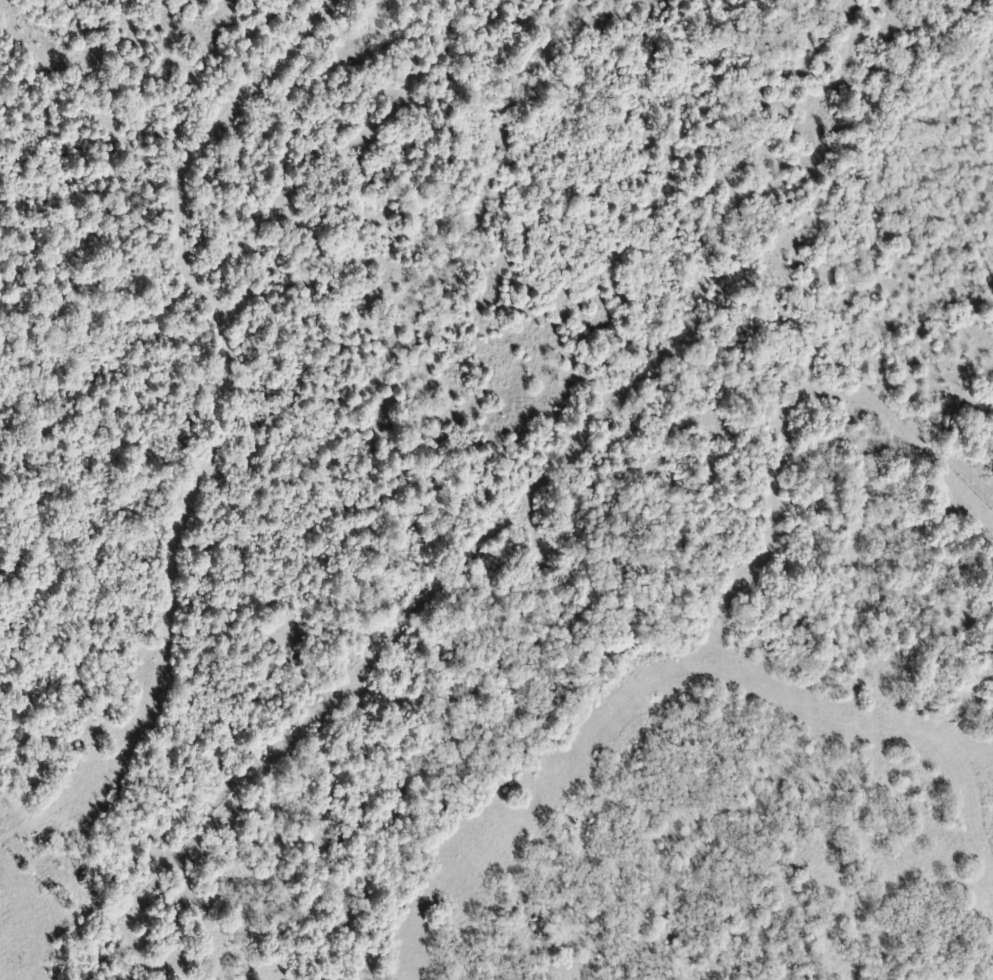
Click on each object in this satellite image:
road: (204, 429)

